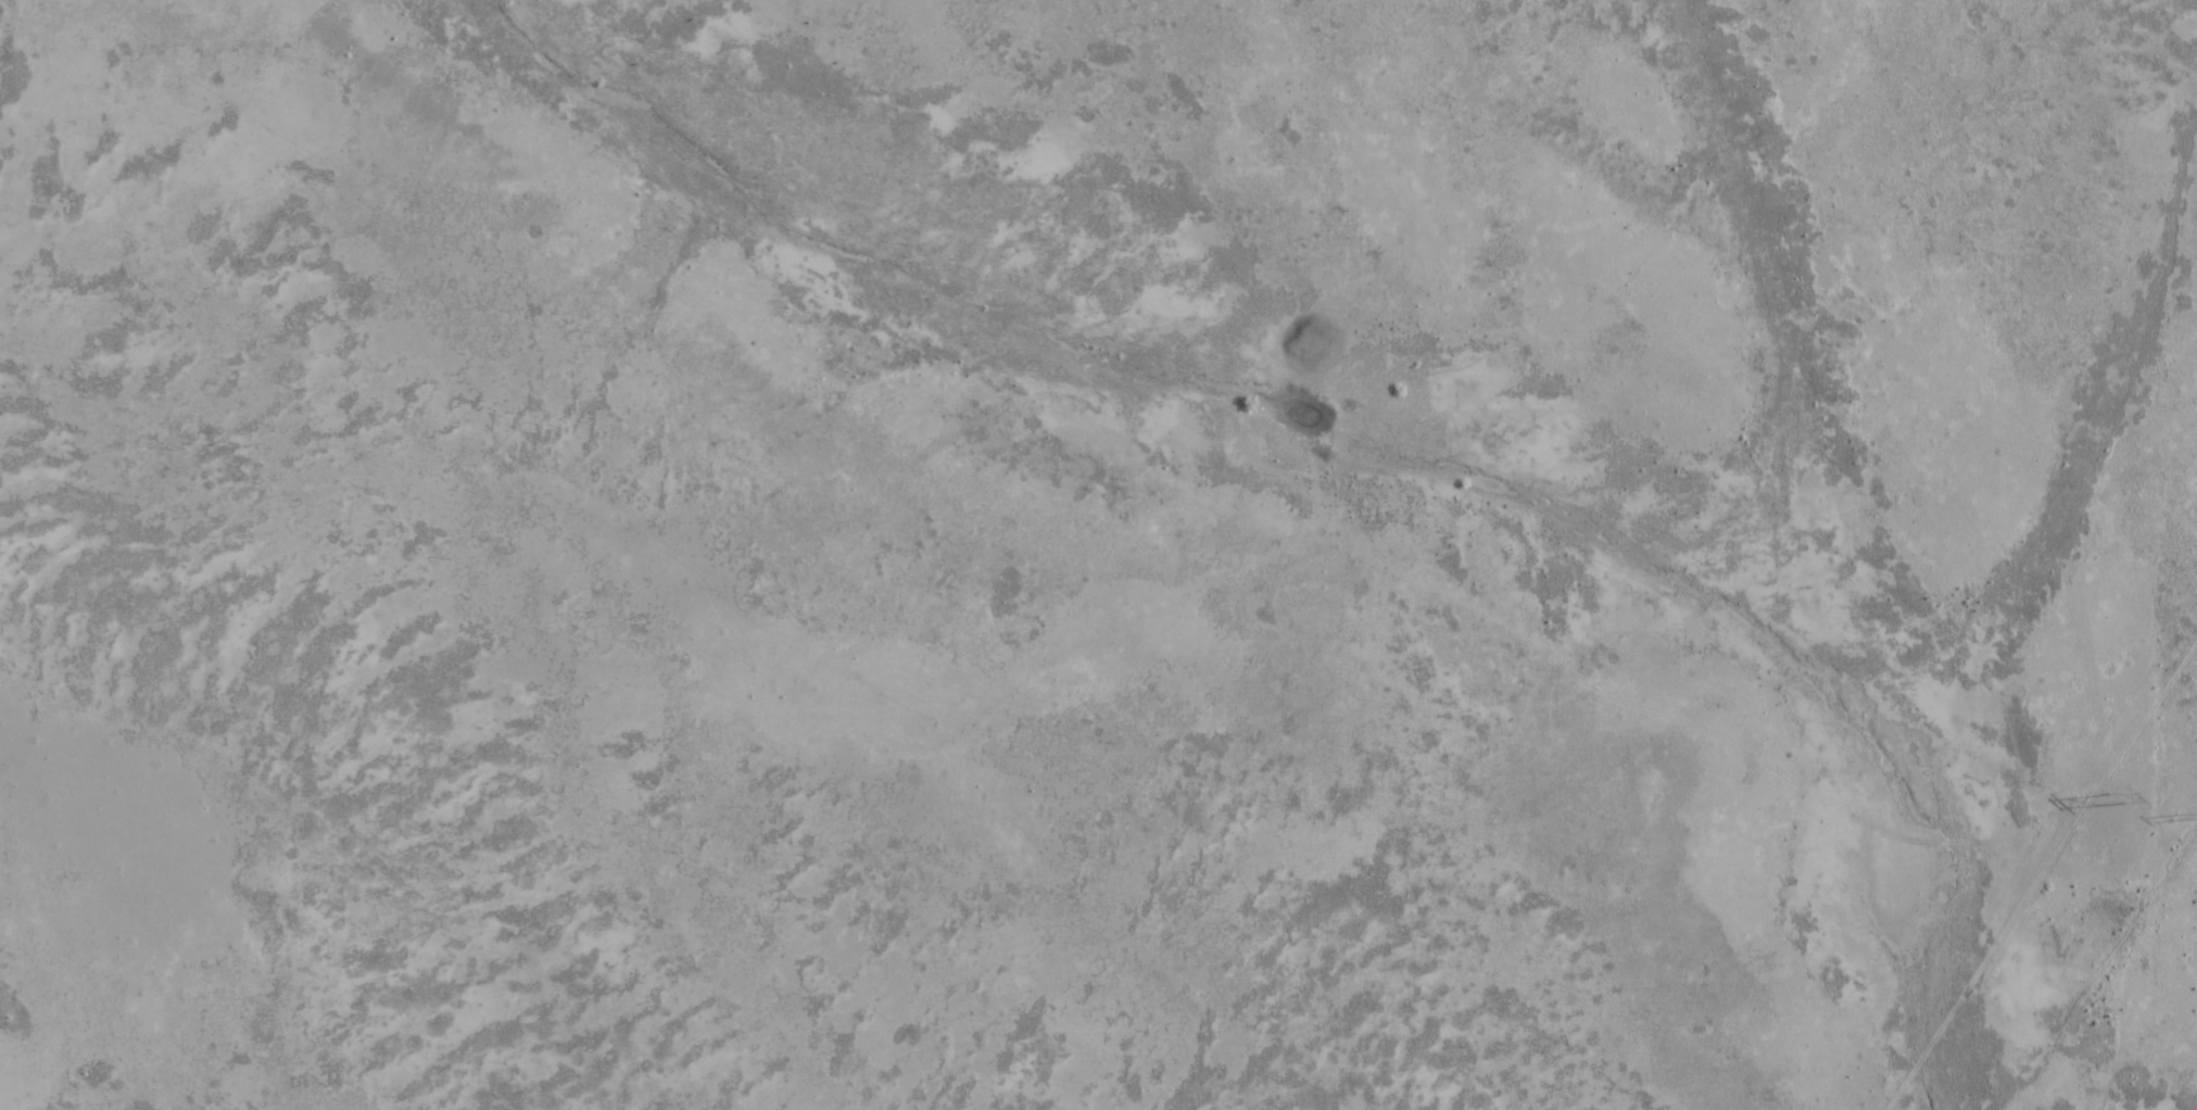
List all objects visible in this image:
power tower: (2113, 800)

